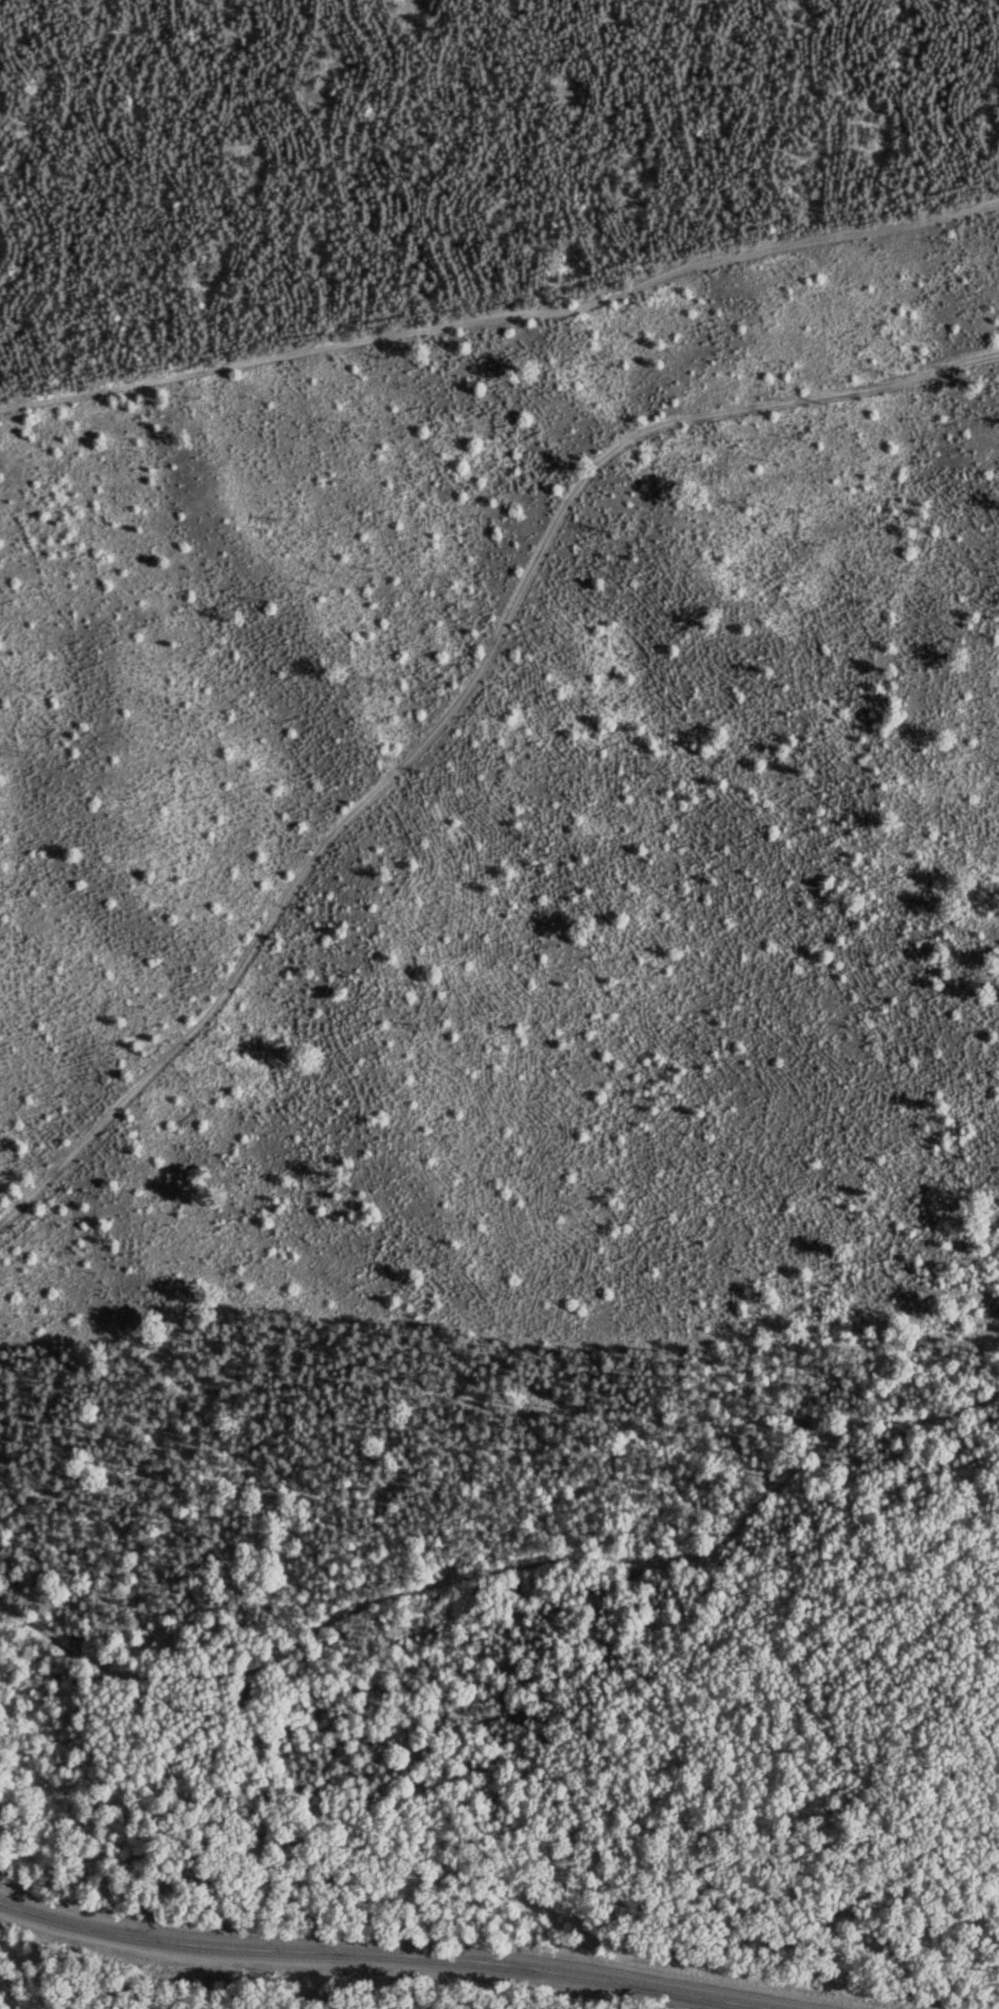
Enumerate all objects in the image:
road: (502, 316)
road: (460, 687)
road: (392, 1954)

